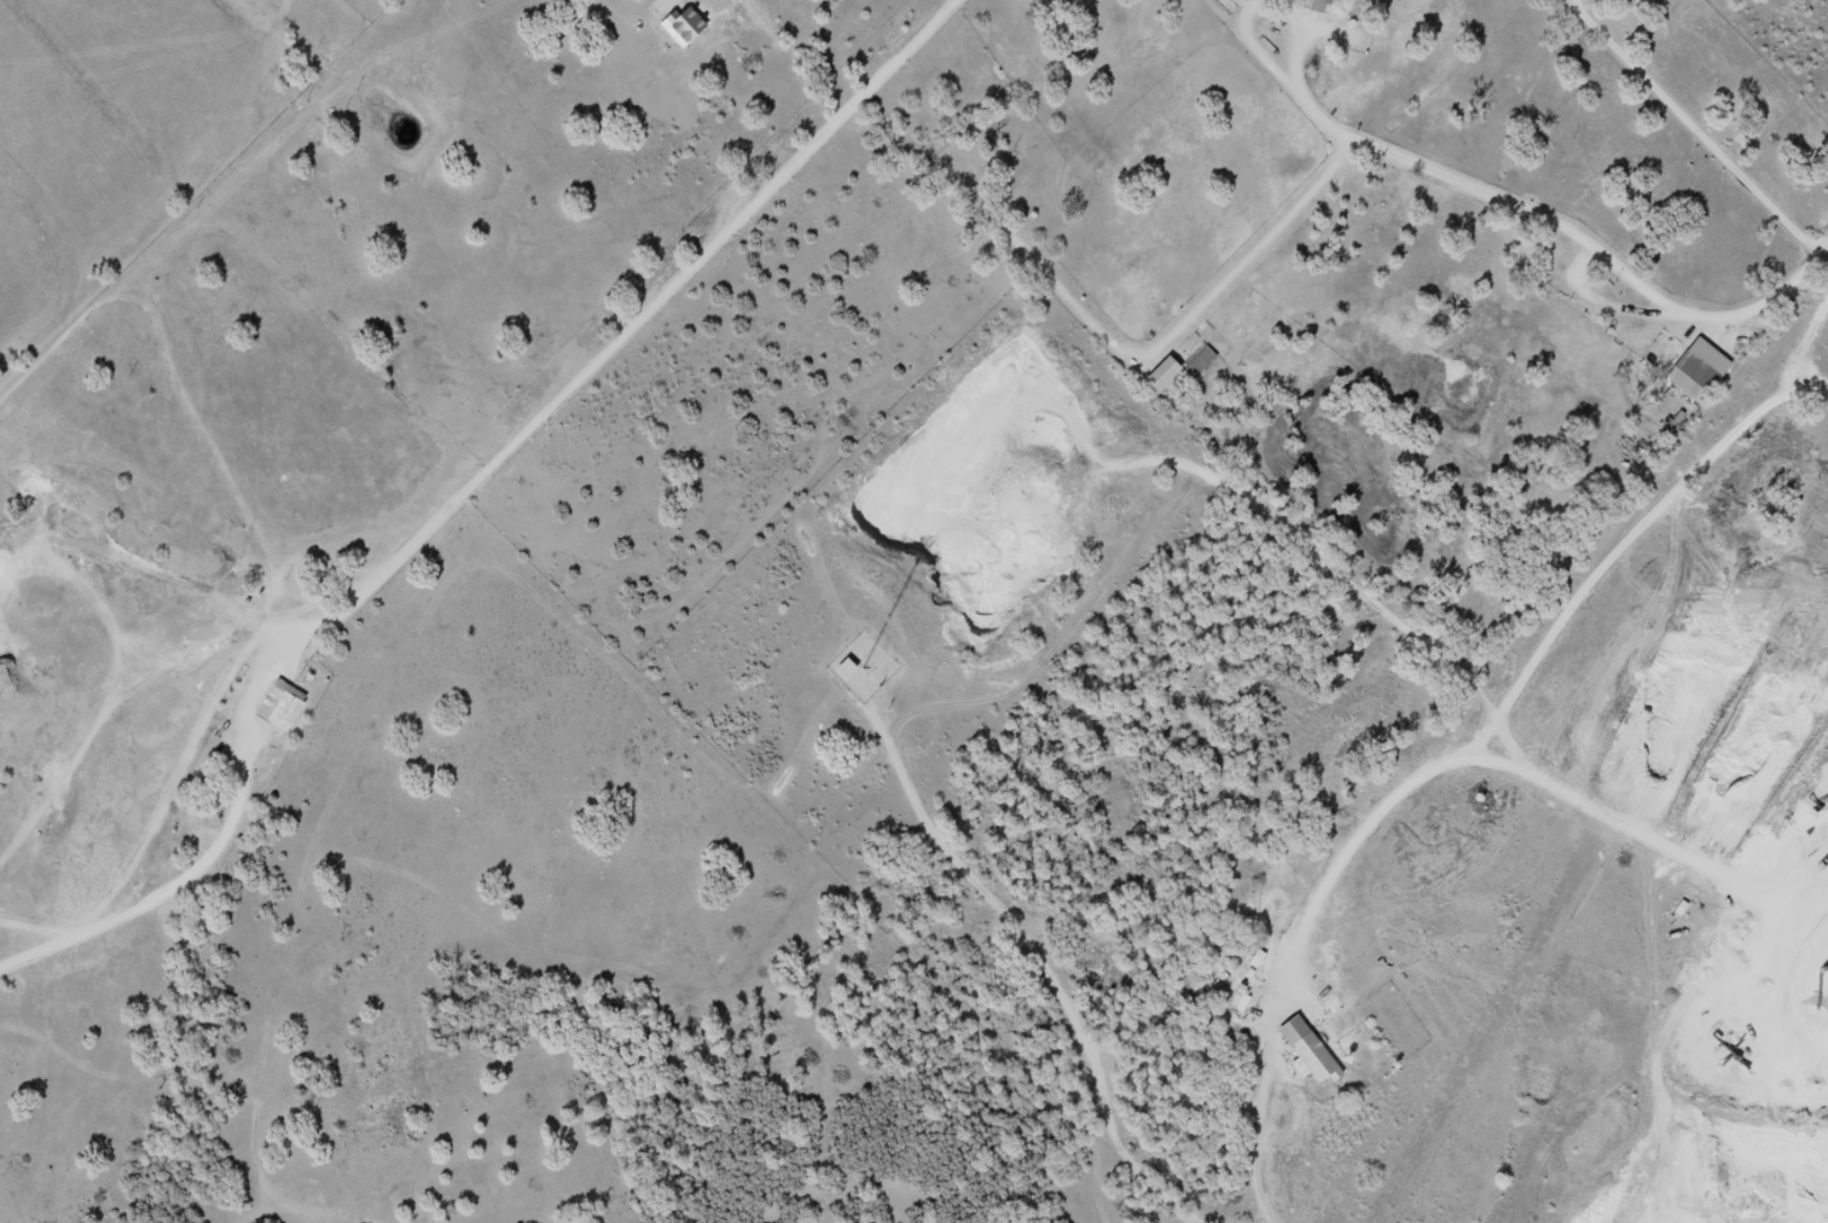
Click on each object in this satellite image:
building: (1629, 4)
building: (1316, 6)
road: (1698, 128)
road: (1549, 216)
road: (152, 267)
building: (1201, 363)
building: (1693, 378)
road: (468, 529)
road: (56, 553)
road: (250, 615)
building: (846, 668)
building: (282, 708)
building: (1241, 1003)
building: (1307, 1054)

